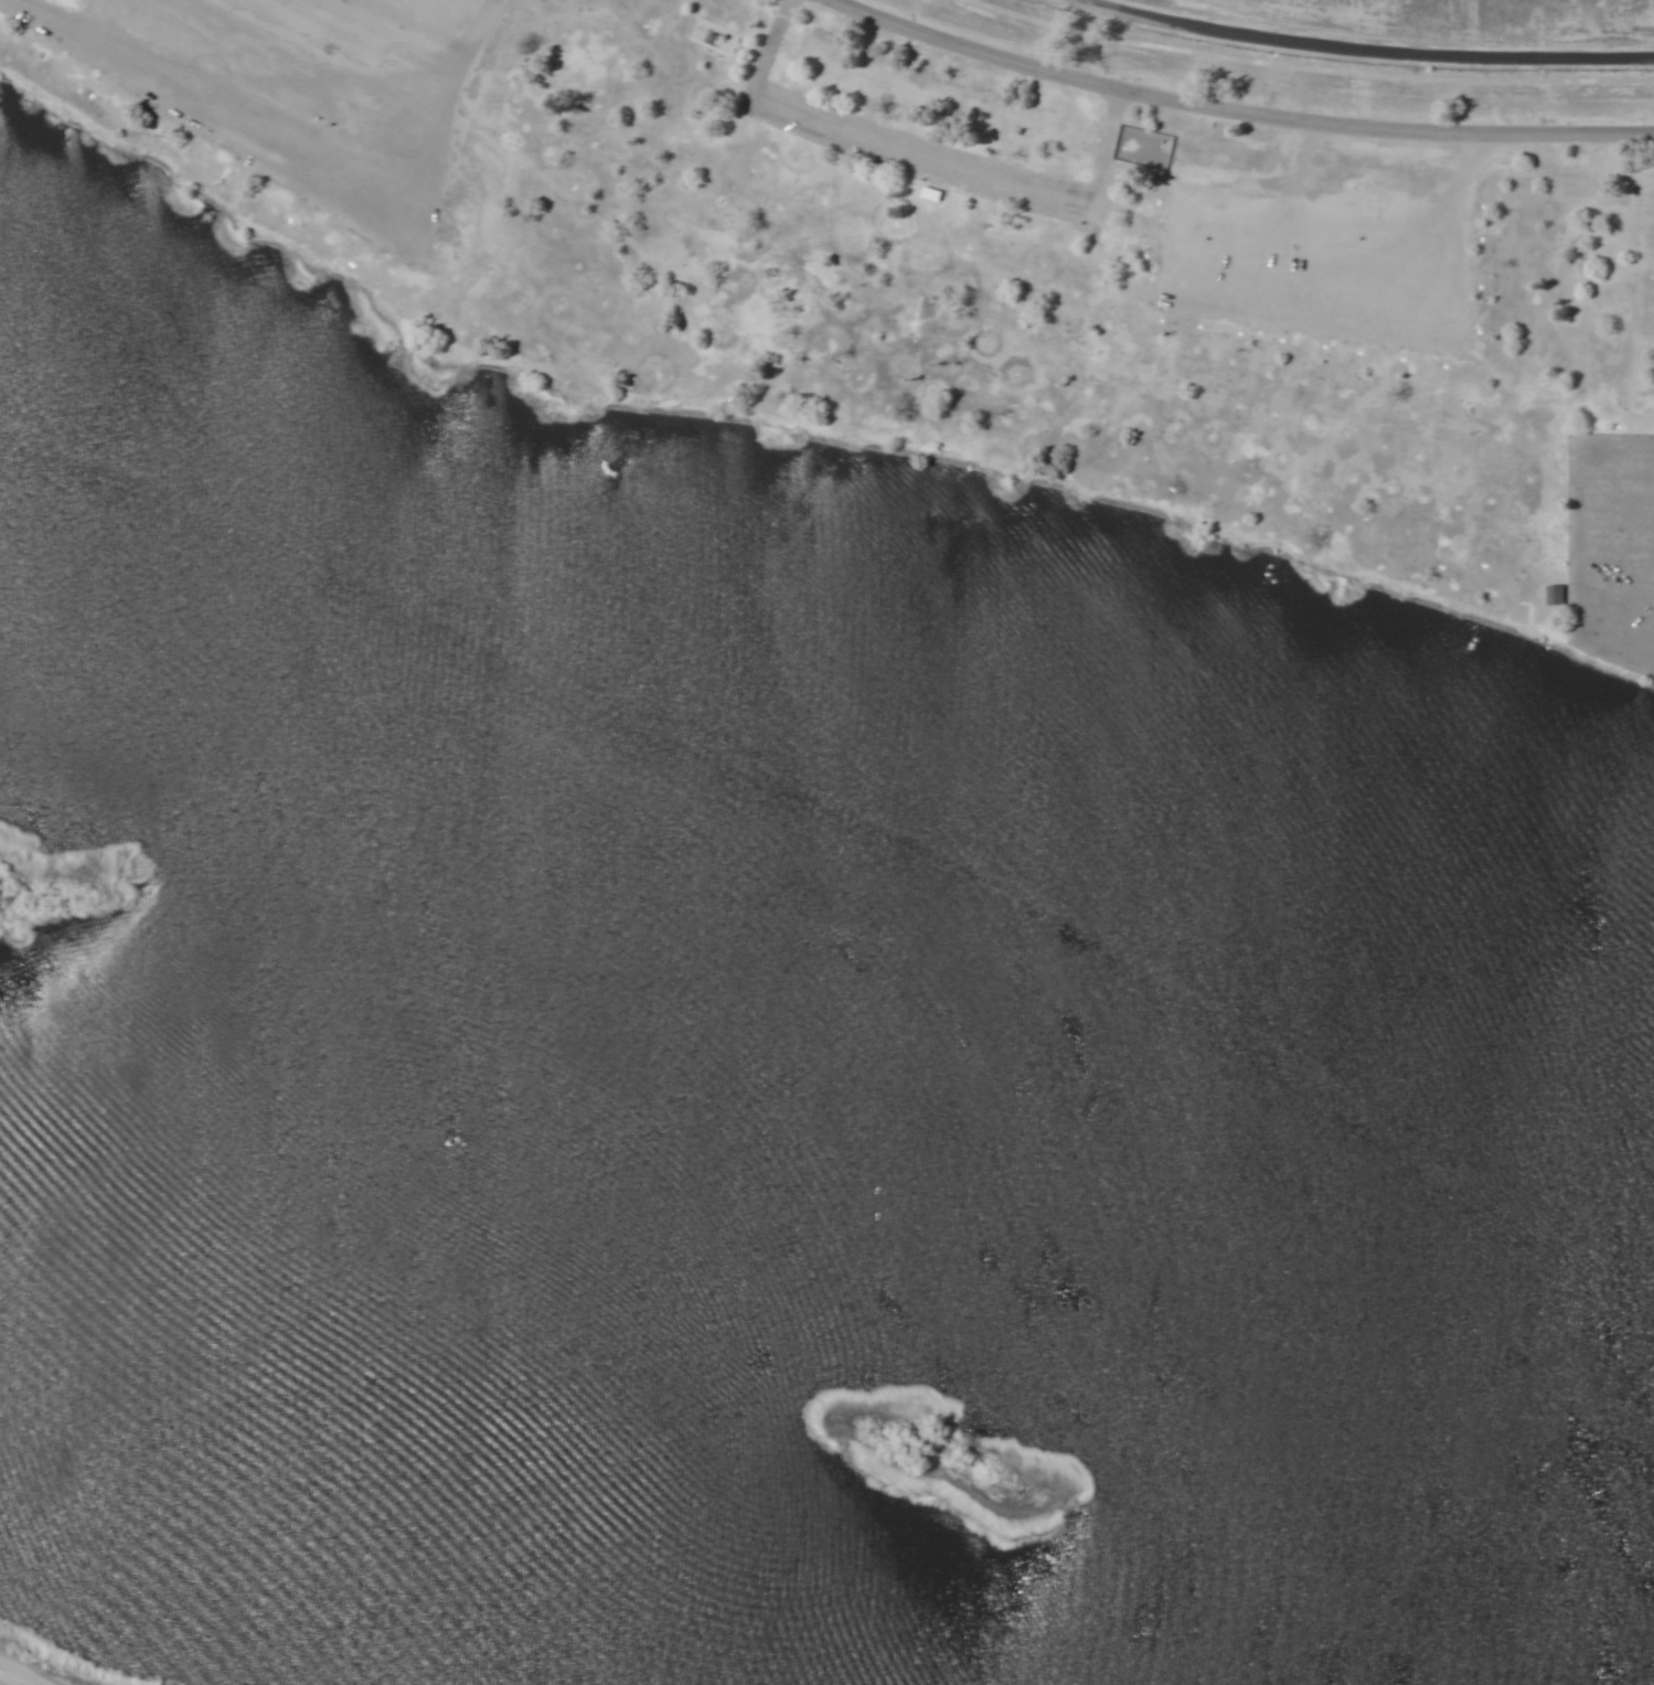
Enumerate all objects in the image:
road: (1369, 47)
road: (1246, 106)
parking lot: (917, 149)
road: (950, 166)
building: (931, 194)
parking lot: (1335, 241)
road: (1616, 470)
parking lot: (1611, 548)
road: (1618, 553)
road: (1582, 588)
building: (1555, 594)

